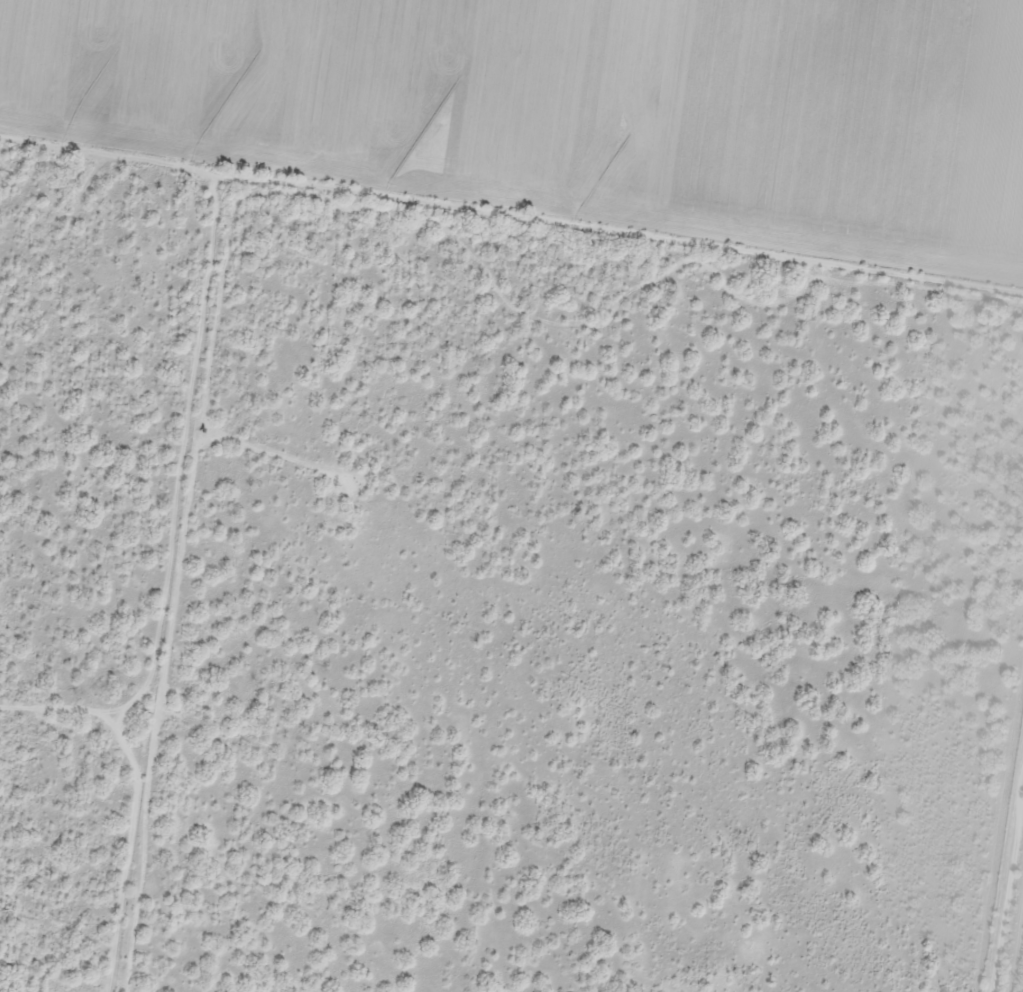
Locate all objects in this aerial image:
road: (1014, 928)

